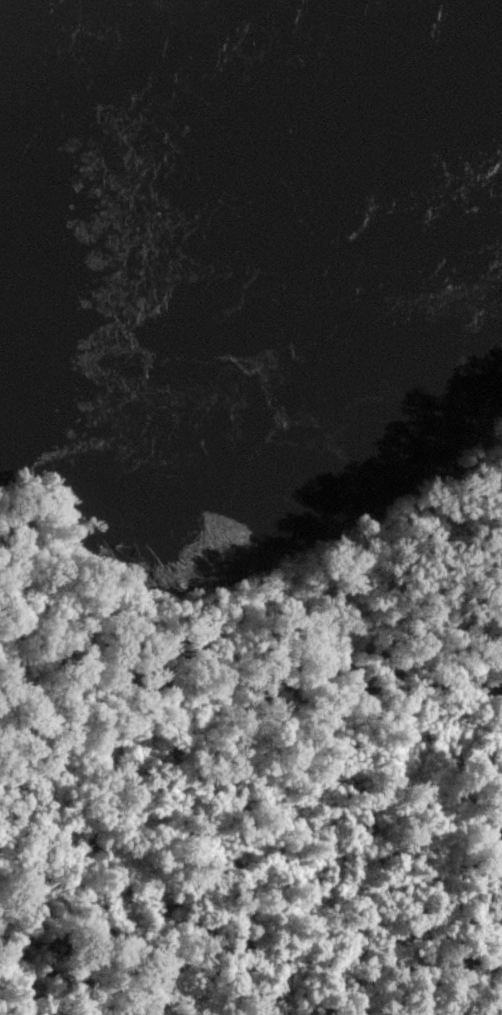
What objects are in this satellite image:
river: (184, 52)

